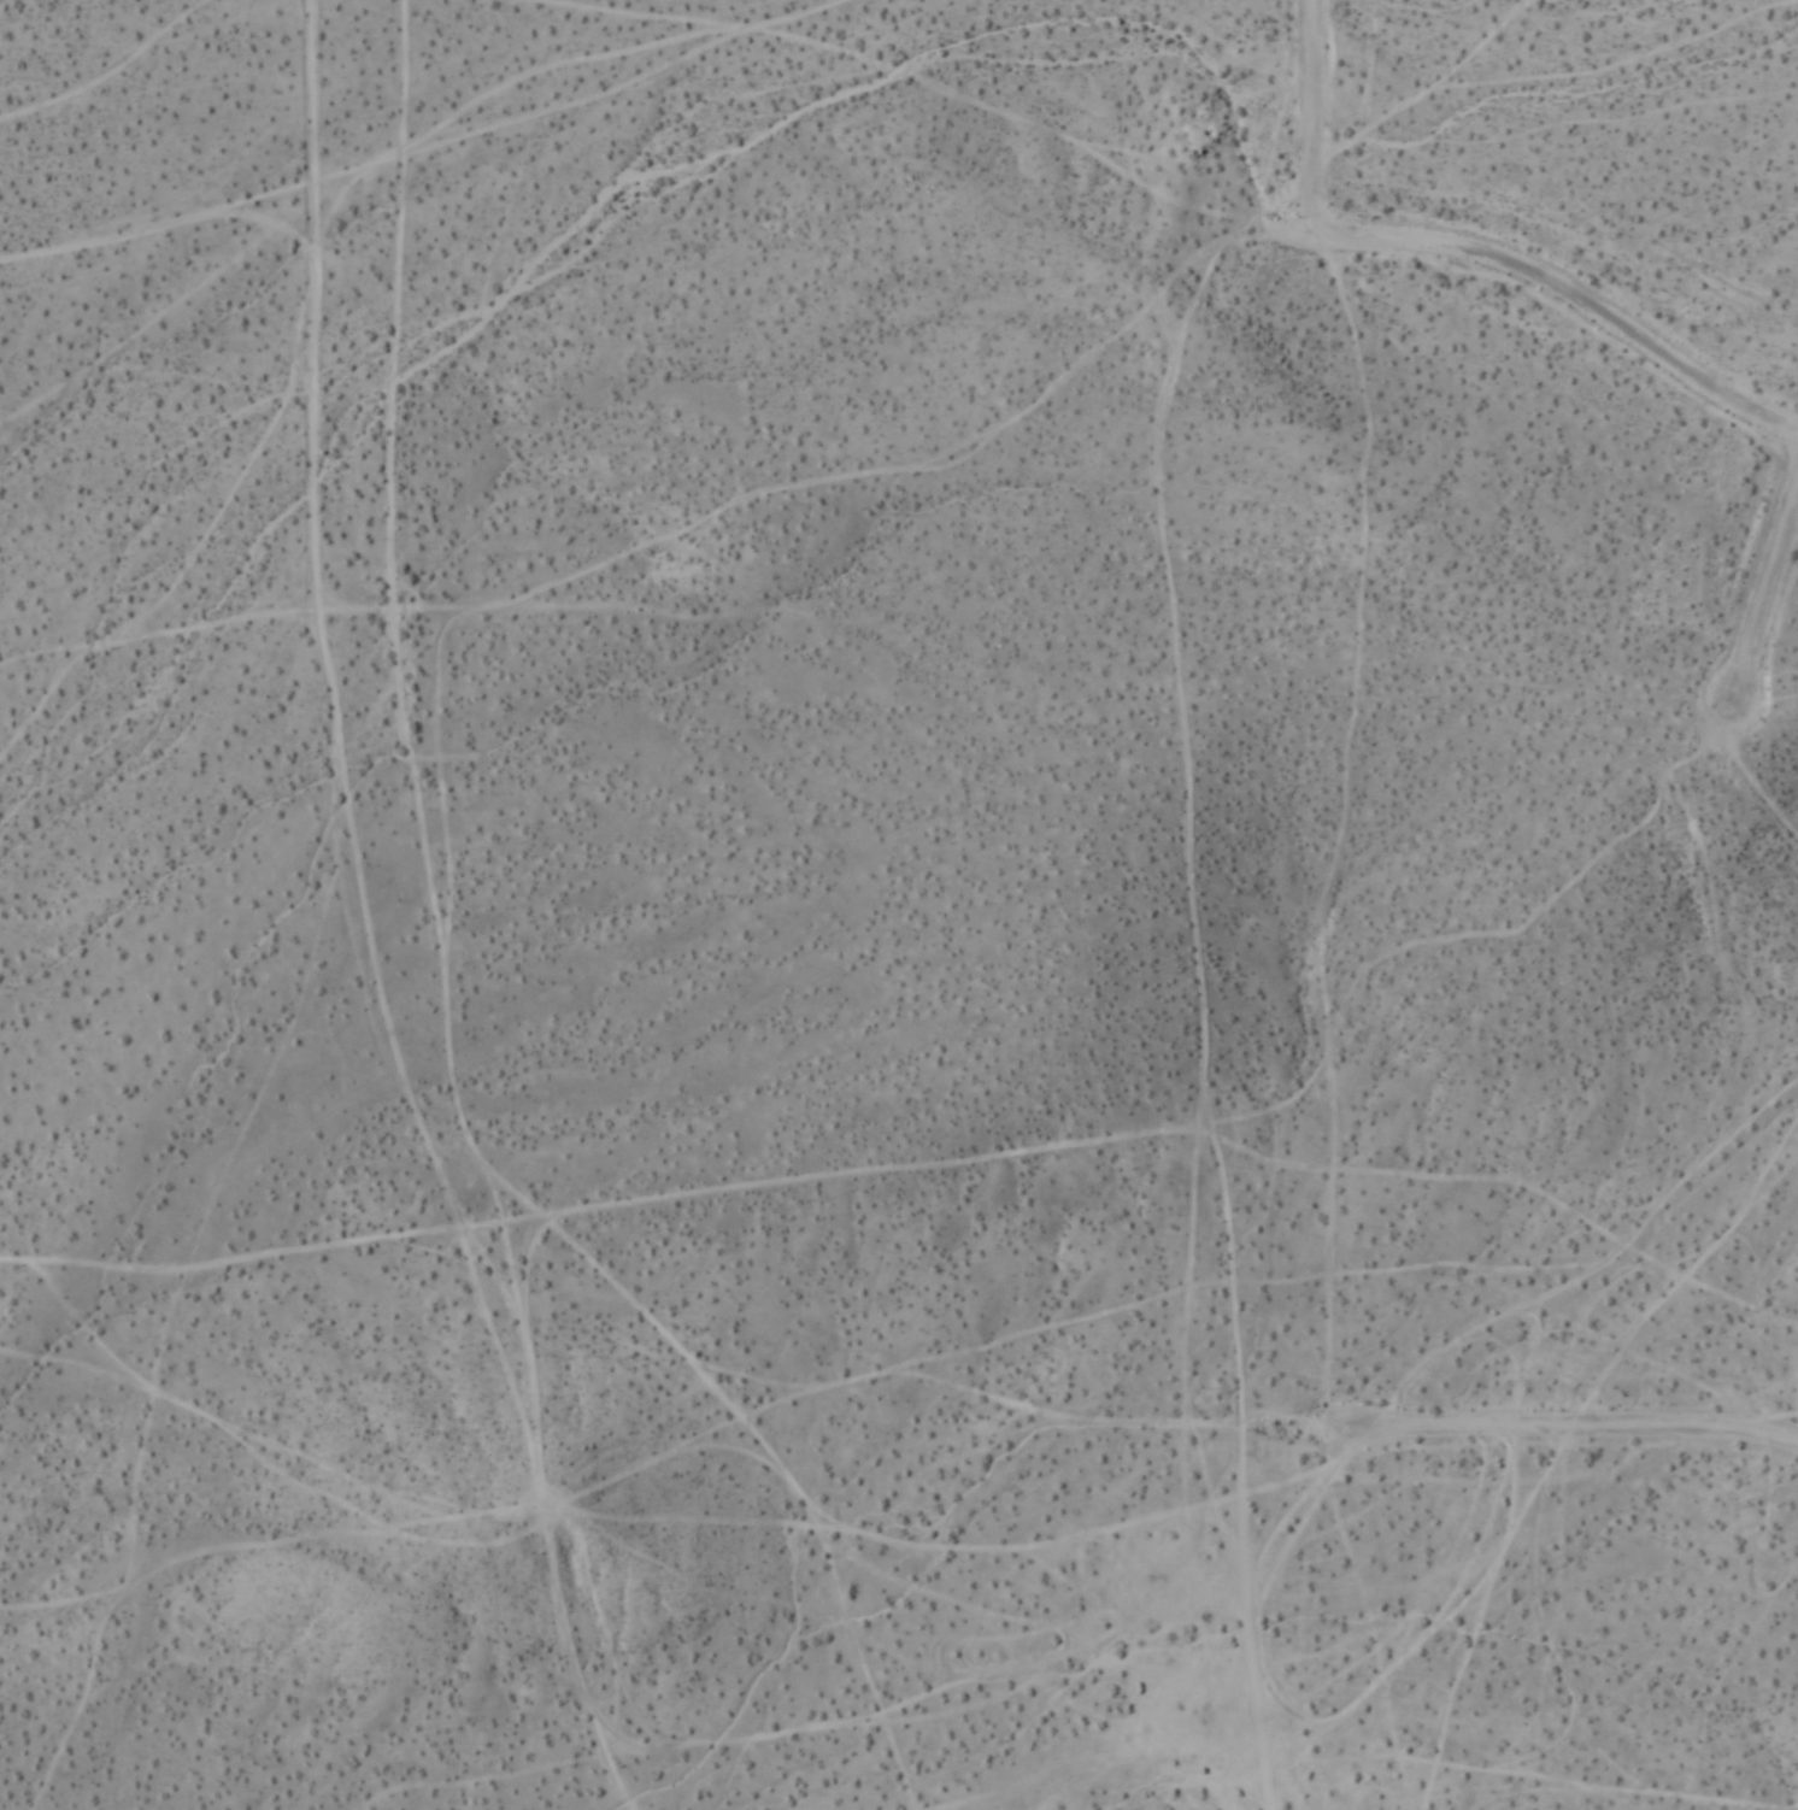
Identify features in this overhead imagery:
road: (1308, 106)
road: (1564, 294)
road: (1765, 588)
road: (1582, 1429)

